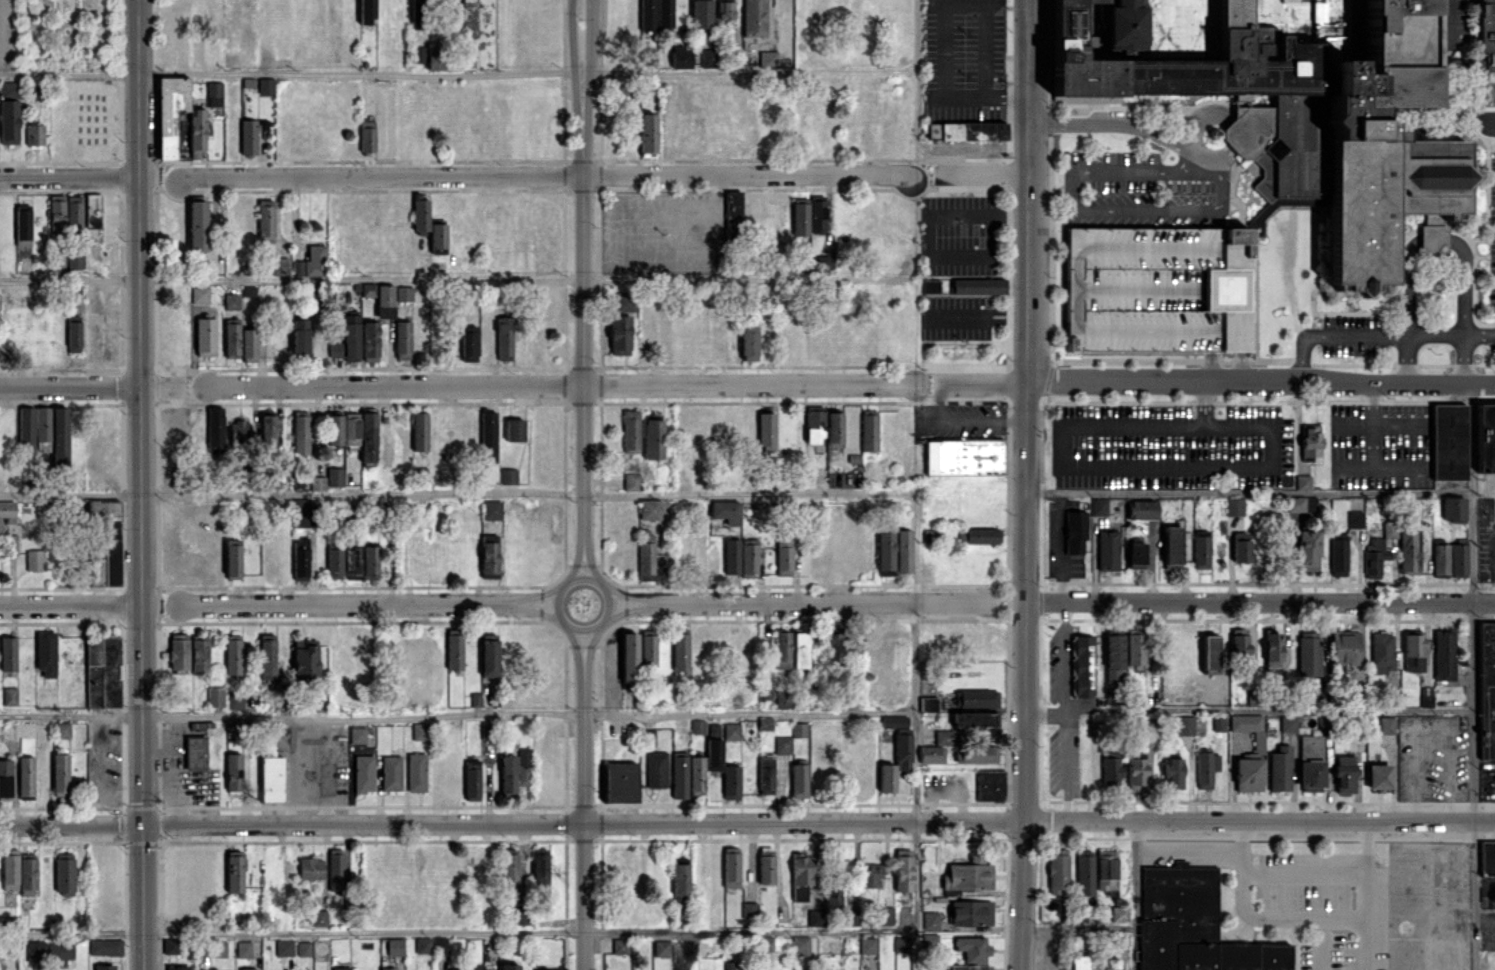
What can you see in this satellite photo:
building: (33, 6)
building: (725, 11)
building: (365, 12)
building: (664, 13)
building: (701, 13)
building: (419, 14)
building: (647, 14)
building: (753, 18)
road: (1453, 21)
parking lot: (1451, 22)
fountain: (66, 30)
park: (65, 33)
road: (570, 35)
road: (589, 35)
building: (1485, 53)
building: (428, 55)
building: (680, 57)
building: (708, 57)
building: (767, 59)
road: (457, 70)
road: (916, 74)
building: (265, 85)
building: (213, 93)
building: (1287, 102)
building: (9, 112)
building: (932, 130)
building: (972, 130)
building: (647, 132)
building: (166, 134)
building: (34, 135)
building: (250, 135)
building: (367, 135)
road: (1180, 144)
road: (979, 172)
road: (543, 173)
road: (68, 174)
parking lot: (1142, 189)
road: (1085, 209)
building: (421, 213)
building: (735, 214)
building: (816, 214)
building: (65, 215)
building: (799, 216)
building: (92, 217)
parking lot: (1490, 217)
building: (265, 221)
building: (23, 222)
building: (197, 225)
building: (437, 236)
road: (1436, 237)
building: (74, 261)
building: (311, 262)
building: (820, 262)
building: (279, 265)
road: (900, 274)
road: (445, 277)
building: (977, 285)
building: (930, 286)
building: (1164, 288)
parking lot: (1164, 288)
building: (367, 289)
helipad: (1232, 289)
building: (404, 293)
building: (199, 294)
building: (231, 301)
building: (384, 301)
road: (580, 309)
building: (73, 333)
building: (204, 336)
building: (299, 336)
parking lot: (1355, 336)
road: (1375, 336)
building: (231, 338)
building: (503, 338)
building: (402, 339)
building: (347, 340)
building: (370, 340)
building: (468, 342)
building: (748, 342)
building: (248, 344)
road: (1239, 367)
road: (1210, 368)
road: (980, 382)
road: (1259, 382)
road: (69, 384)
road: (159, 384)
road: (557, 384)
road: (937, 396)
road: (1024, 409)
building: (333, 426)
building: (351, 428)
building: (26, 429)
building: (214, 429)
building: (267, 429)
building: (514, 429)
building: (630, 430)
building: (239, 431)
building: (419, 431)
building: (766, 431)
building: (868, 431)
building: (300, 432)
building: (825, 432)
building: (488, 435)
road: (1470, 435)
building: (368, 436)
building: (652, 436)
building: (1485, 437)
building: (1448, 440)
building: (1310, 441)
building: (963, 456)
road: (1105, 467)
building: (508, 475)
building: (328, 479)
building: (630, 481)
building: (1302, 481)
road: (139, 484)
road: (1247, 489)
road: (457, 494)
building: (1301, 504)
building: (1098, 505)
building: (1234, 506)
building: (1452, 508)
building: (491, 509)
building: (653, 509)
building: (1141, 509)
building: (725, 510)
building: (303, 512)
building: (6, 513)
building: (1355, 518)
building: (1389, 529)
building: (1075, 532)
building: (978, 535)
building: (106, 543)
building: (1240, 546)
building: (1172, 547)
building: (1107, 549)
building: (1201, 549)
building: (885, 550)
building: (903, 550)
building: (1307, 550)
building: (1409, 551)
building: (784, 554)
building: (1337, 554)
building: (488, 555)
building: (1135, 555)
building: (1374, 556)
building: (646, 557)
building: (730, 557)
building: (232, 558)
building: (300, 558)
building: (1448, 558)
building: (35, 559)
building: (351, 560)
building: (368, 561)
building: (334, 562)
road: (575, 563)
road: (589, 564)
road: (605, 588)
road: (538, 594)
road: (625, 594)
road: (818, 601)
road: (1259, 601)
road: (347, 603)
road: (70, 605)
road: (625, 608)
road: (540, 610)
building: (1239, 642)
road: (589, 643)
road: (575, 644)
building: (833, 645)
building: (1136, 646)
building: (648, 647)
building: (1344, 647)
building: (1272, 648)
building: (454, 649)
building: (680, 649)
building: (790, 649)
building: (1382, 651)
building: (45, 652)
building: (178, 652)
building: (1308, 652)
building: (1413, 652)
building: (8, 653)
building: (233, 654)
building: (1209, 654)
building: (1443, 654)
building: (267, 655)
building: (489, 655)
building: (628, 657)
building: (1113, 657)
building: (305, 660)
building: (1082, 666)
building: (103, 671)
building: (1486, 687)
building: (766, 693)
building: (9, 695)
building: (215, 696)
building: (1111, 696)
building: (1425, 696)
building: (976, 698)
building: (234, 699)
building: (474, 699)
building: (781, 699)
building: (927, 703)
road: (915, 709)
road: (1063, 710)
road: (1248, 711)
road: (458, 713)
building: (974, 719)
building: (1287, 723)
building: (1184, 725)
building: (1386, 725)
building: (697, 726)
building: (1249, 727)
building: (62, 729)
building: (798, 729)
road: (1472, 729)
building: (485, 730)
building: (421, 731)
building: (731, 731)
building: (357, 734)
building: (782, 744)
building: (713, 746)
building: (936, 747)
building: (895, 751)
building: (195, 752)
building: (975, 753)
building: (1310, 762)
building: (525, 766)
building: (656, 768)
building: (1205, 768)
building: (1279, 768)
building: (270, 770)
building: (1110, 770)
building: (416, 771)
building: (390, 772)
building: (1172, 772)
building: (363, 773)
building: (1344, 773)
building: (60, 774)
building: (679, 774)
building: (765, 774)
building: (1136, 774)
building: (1248, 774)
building: (507, 775)
building: (696, 775)
building: (5, 777)
building: (25, 777)
building: (1378, 777)
building: (472, 779)
building: (798, 780)
building: (620, 781)
building: (731, 782)
building: (989, 784)
road: (581, 816)
road: (1259, 818)
road: (582, 820)
road: (70, 823)
traffic signals: (141, 823)
building: (1487, 857)
road: (1241, 861)
building: (508, 866)
building: (540, 866)
building: (731, 866)
building: (765, 867)
building: (310, 868)
road: (1303, 868)
building: (9, 869)
building: (1057, 869)
road: (1365, 869)
building: (903, 870)
building: (234, 871)
building: (335, 871)
building: (64, 873)
building: (1084, 873)
building: (27, 874)
building: (870, 874)
building: (801, 875)
building: (968, 875)
road: (1490, 886)
road: (1021, 894)
road: (1135, 894)
building: (833, 897)
building: (749, 910)
building: (970, 912)
building: (1119, 913)
building: (884, 914)
building: (522, 916)
road: (1307, 916)
building: (319, 917)
building: (851, 917)
building: (816, 918)
building: (930, 920)
building: (1194, 925)
road: (1078, 928)
road: (458, 929)
building: (929, 941)
building: (901, 943)
road: (1321, 943)
building: (800, 944)
building: (170, 945)
building: (430, 945)
building: (620, 945)
building: (866, 945)
building: (104, 946)
building: (394, 946)
building: (284, 947)
building: (661, 947)
building: (243, 948)
building: (303, 948)
building: (219, 949)
building: (35, 950)
road: (1365, 951)
building: (60, 952)
building: (971, 952)
building: (1077, 962)
building: (1109, 964)
building: (509, 966)
building: (103, 967)
building: (177, 967)
building: (469, 967)
building: (343, 968)
building: (387, 968)
building: (248, 969)
building: (545, 969)

